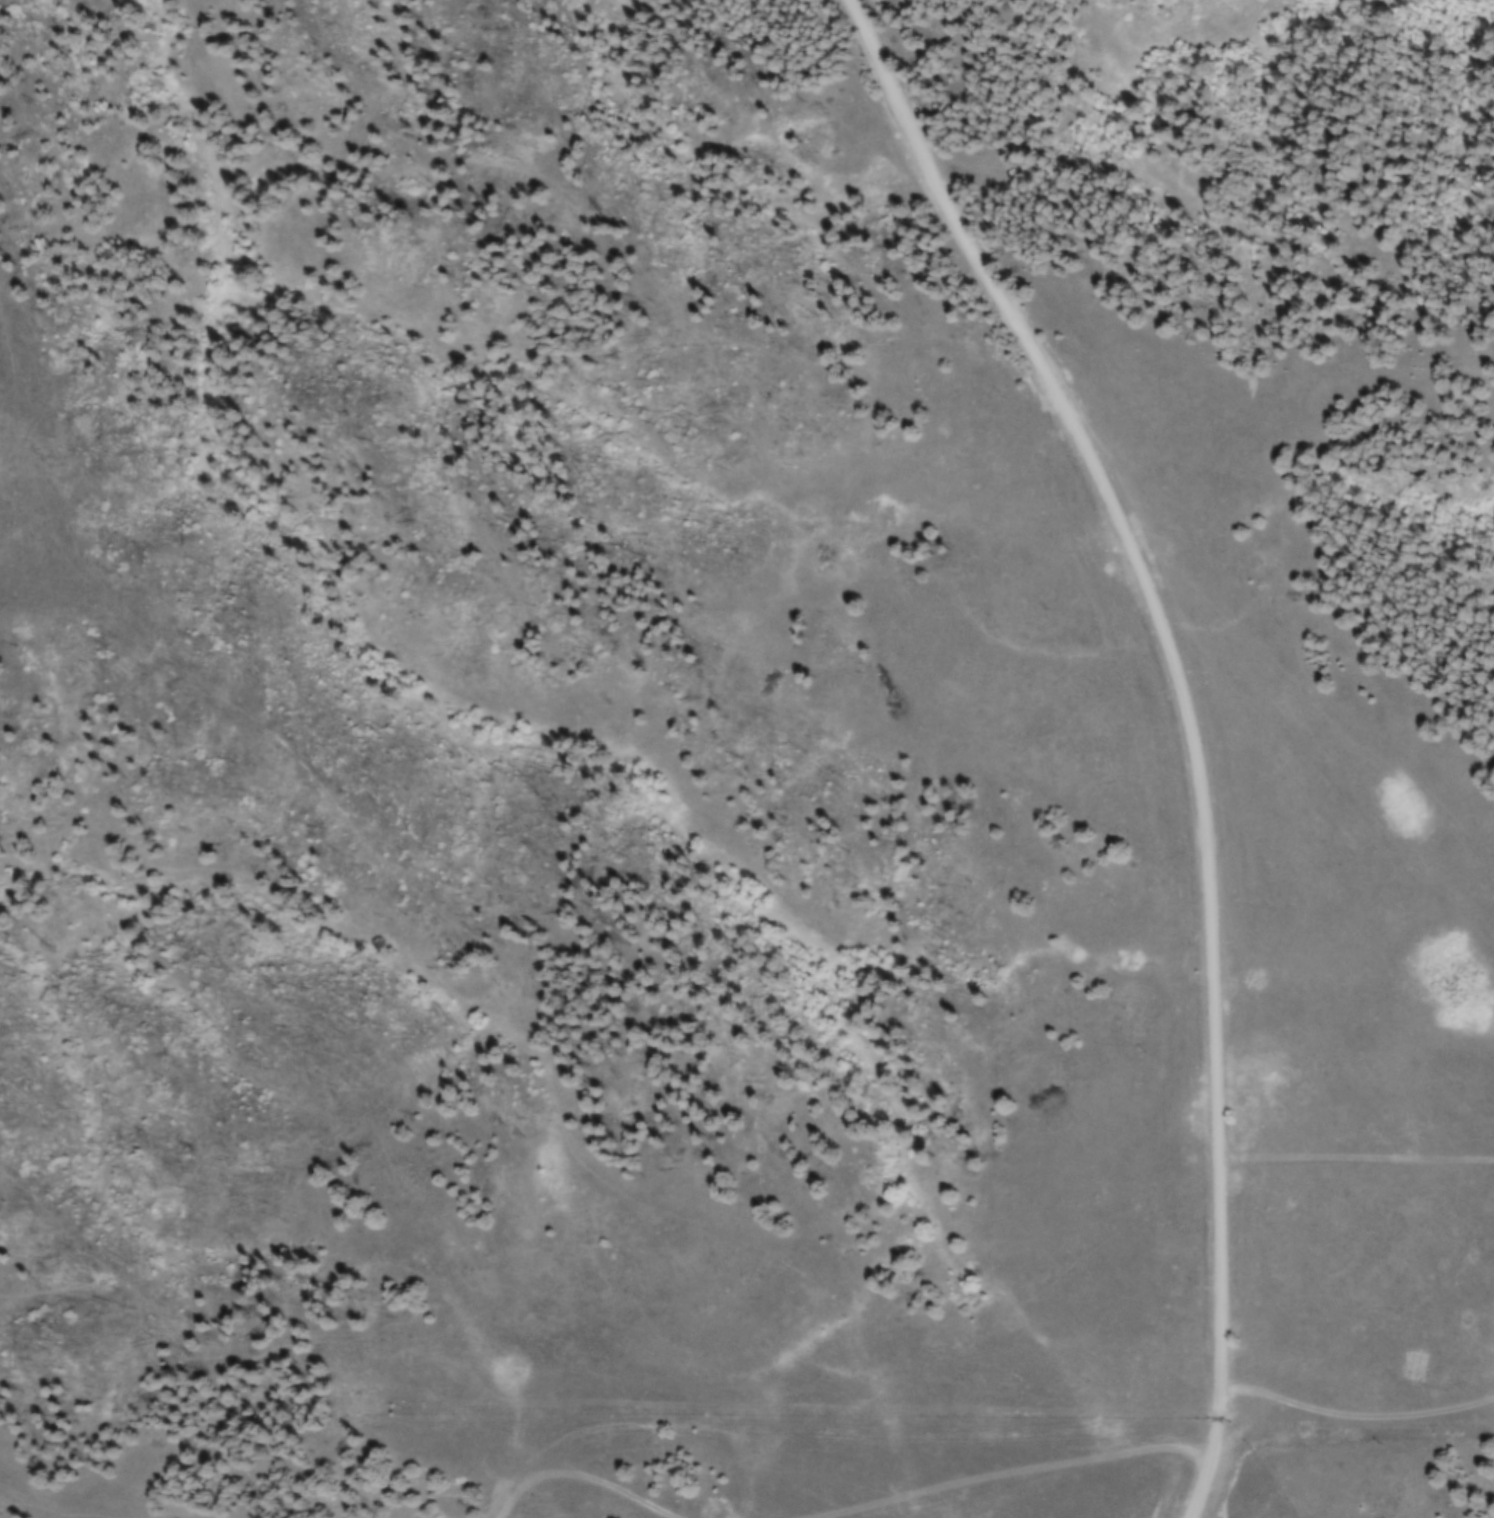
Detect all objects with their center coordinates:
road: (1188, 722)
road: (1356, 1156)

